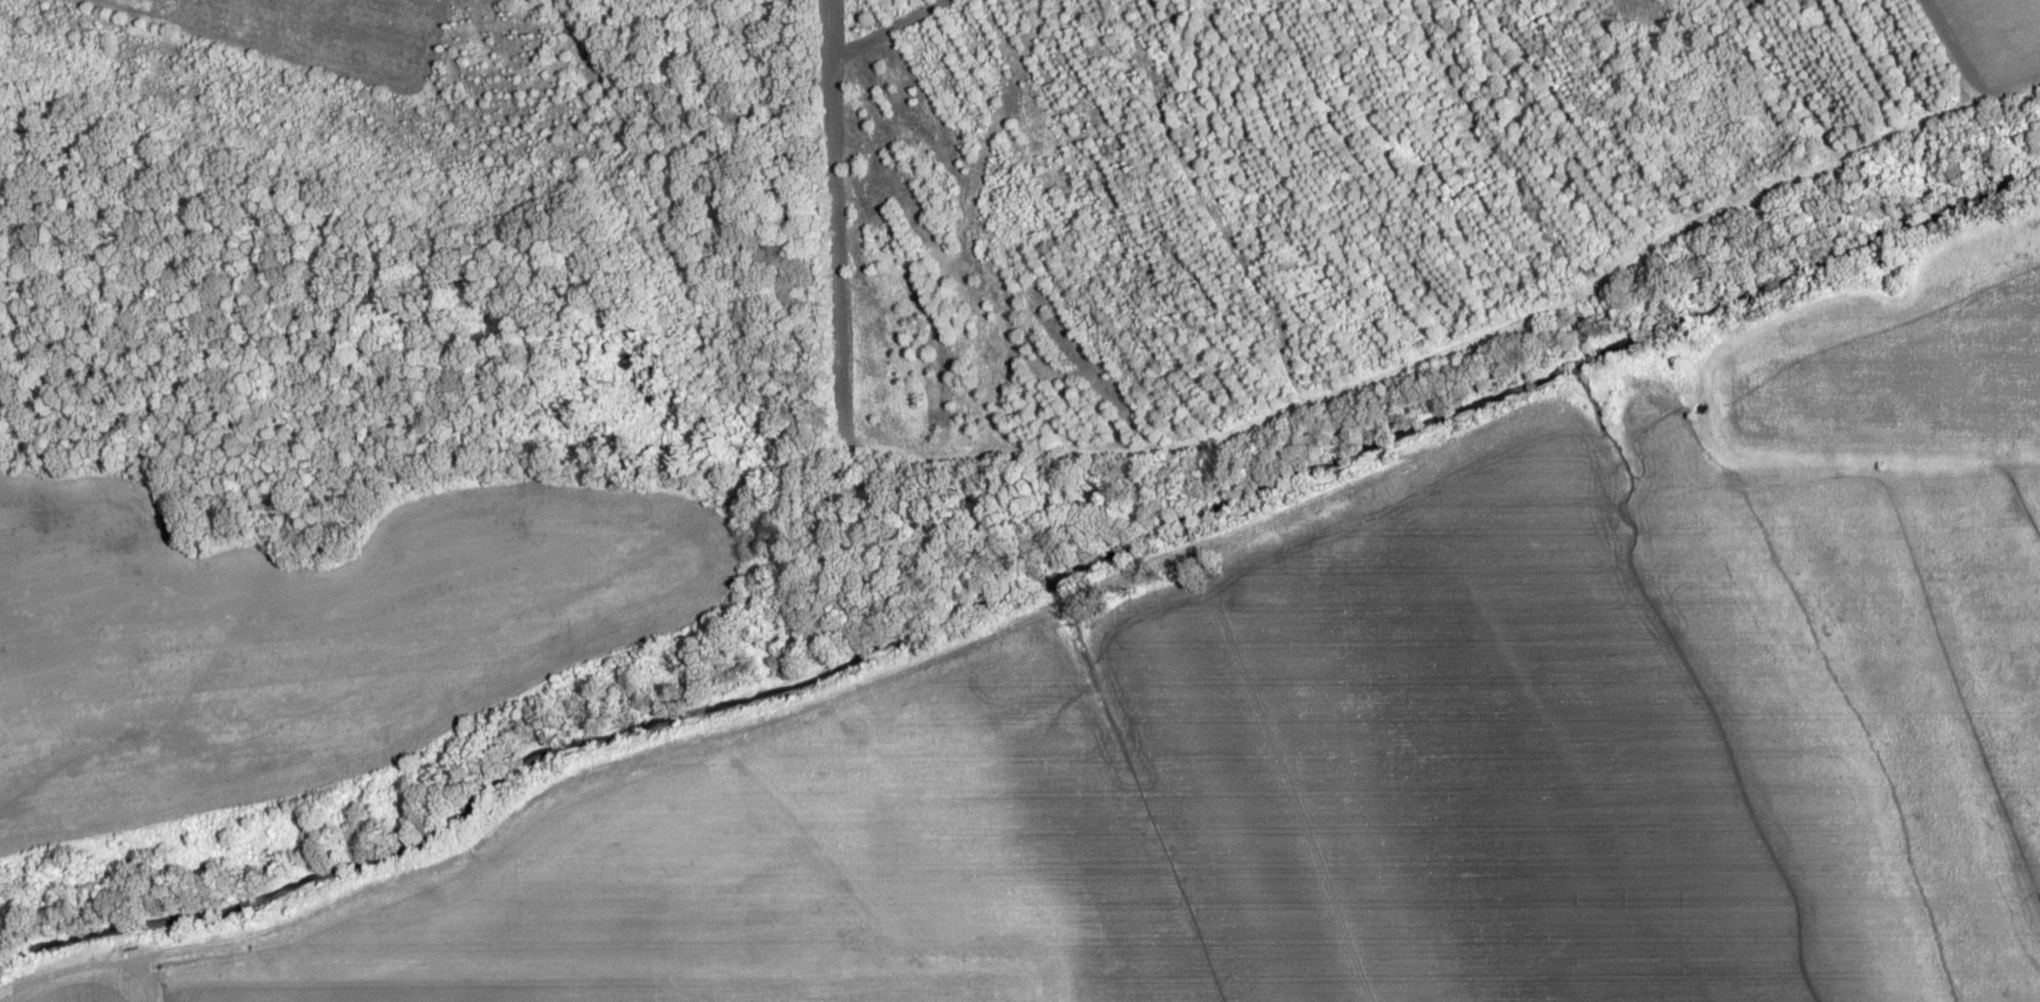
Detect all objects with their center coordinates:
road: (1968, 77)
road: (821, 220)

